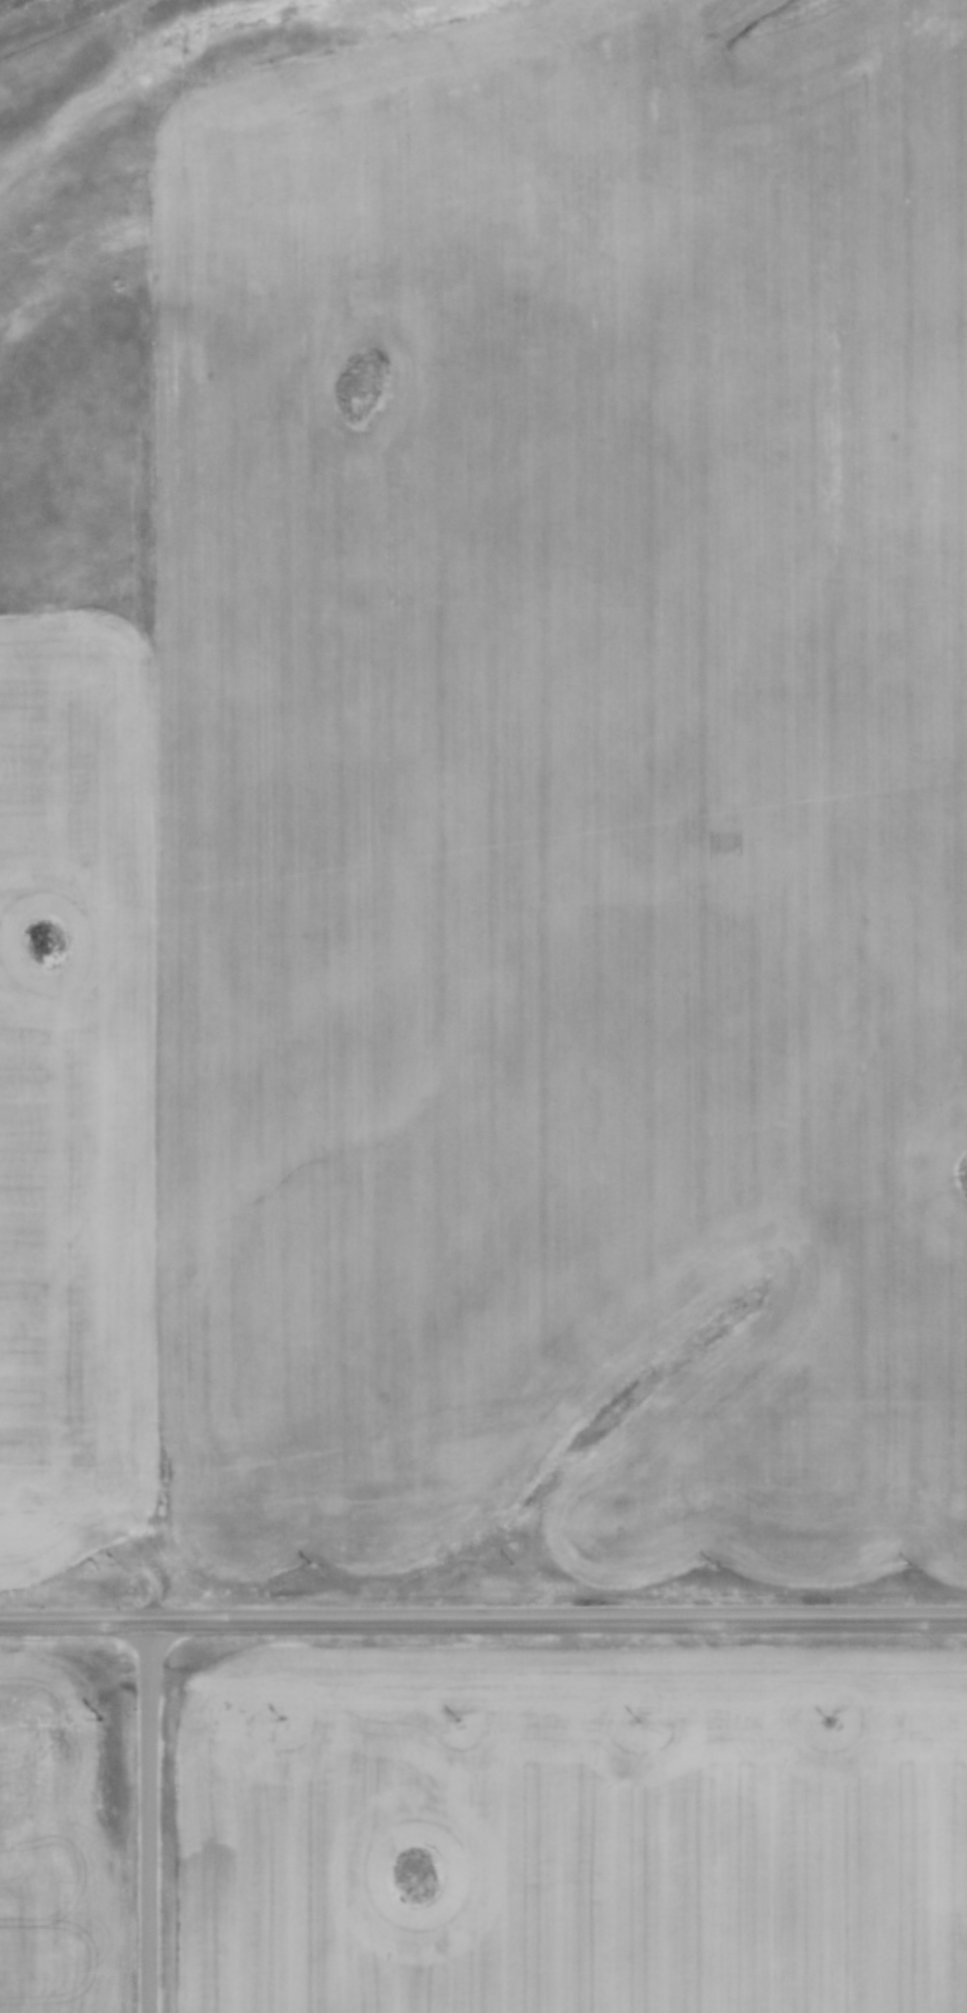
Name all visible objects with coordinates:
road: (483, 1619)
road: (152, 1816)

